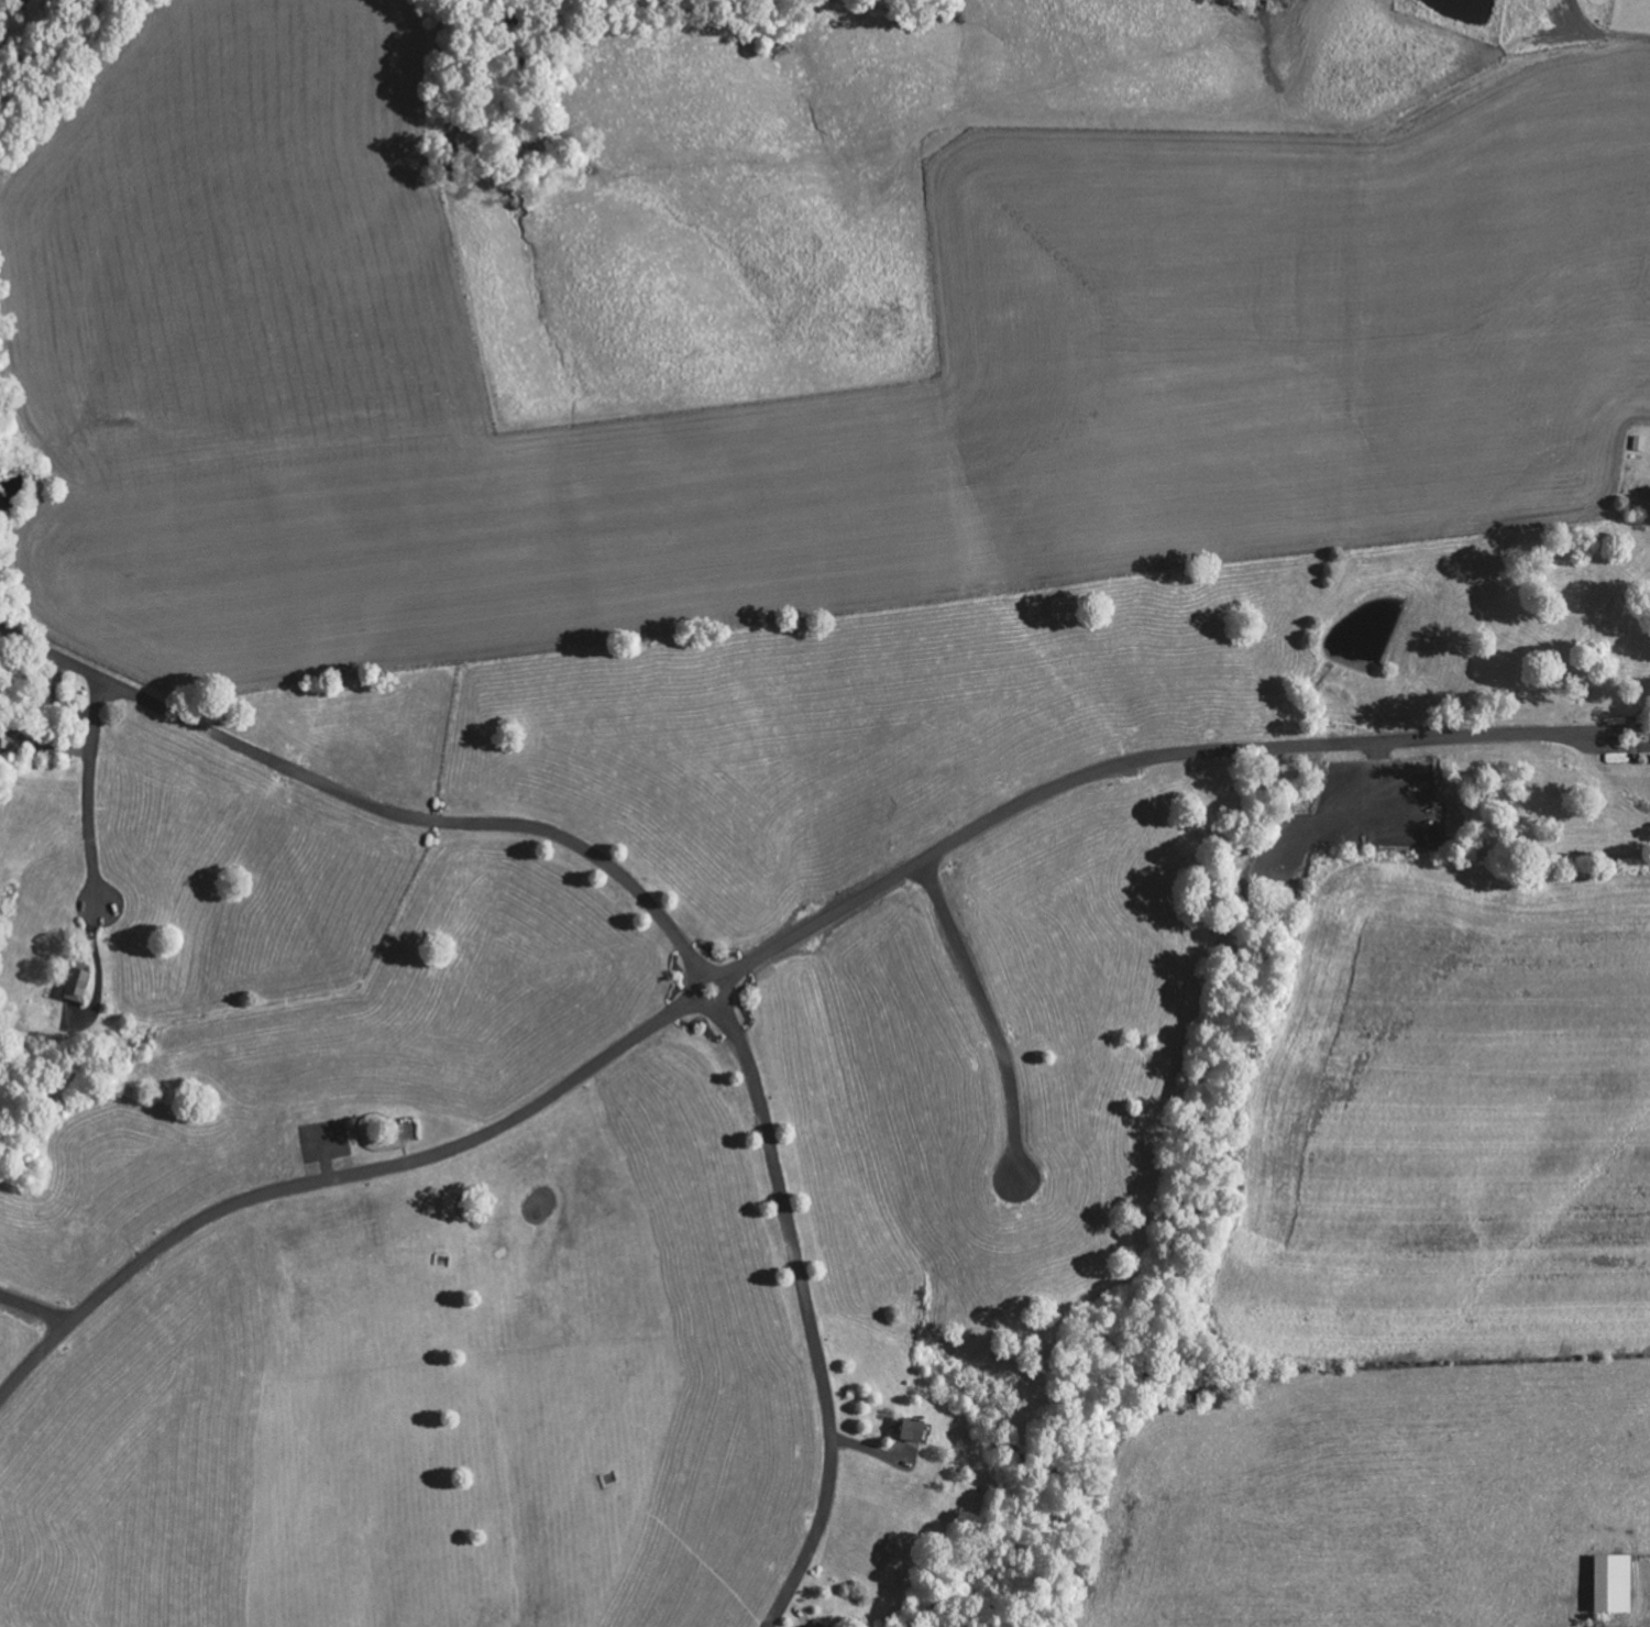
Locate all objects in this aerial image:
road: (85, 784)
road: (367, 802)
road: (779, 939)
building: (73, 985)
road: (989, 1013)
road: (806, 1302)
road: (35, 1306)
building: (905, 1429)
building: (1608, 1583)
building: (814, 1625)

